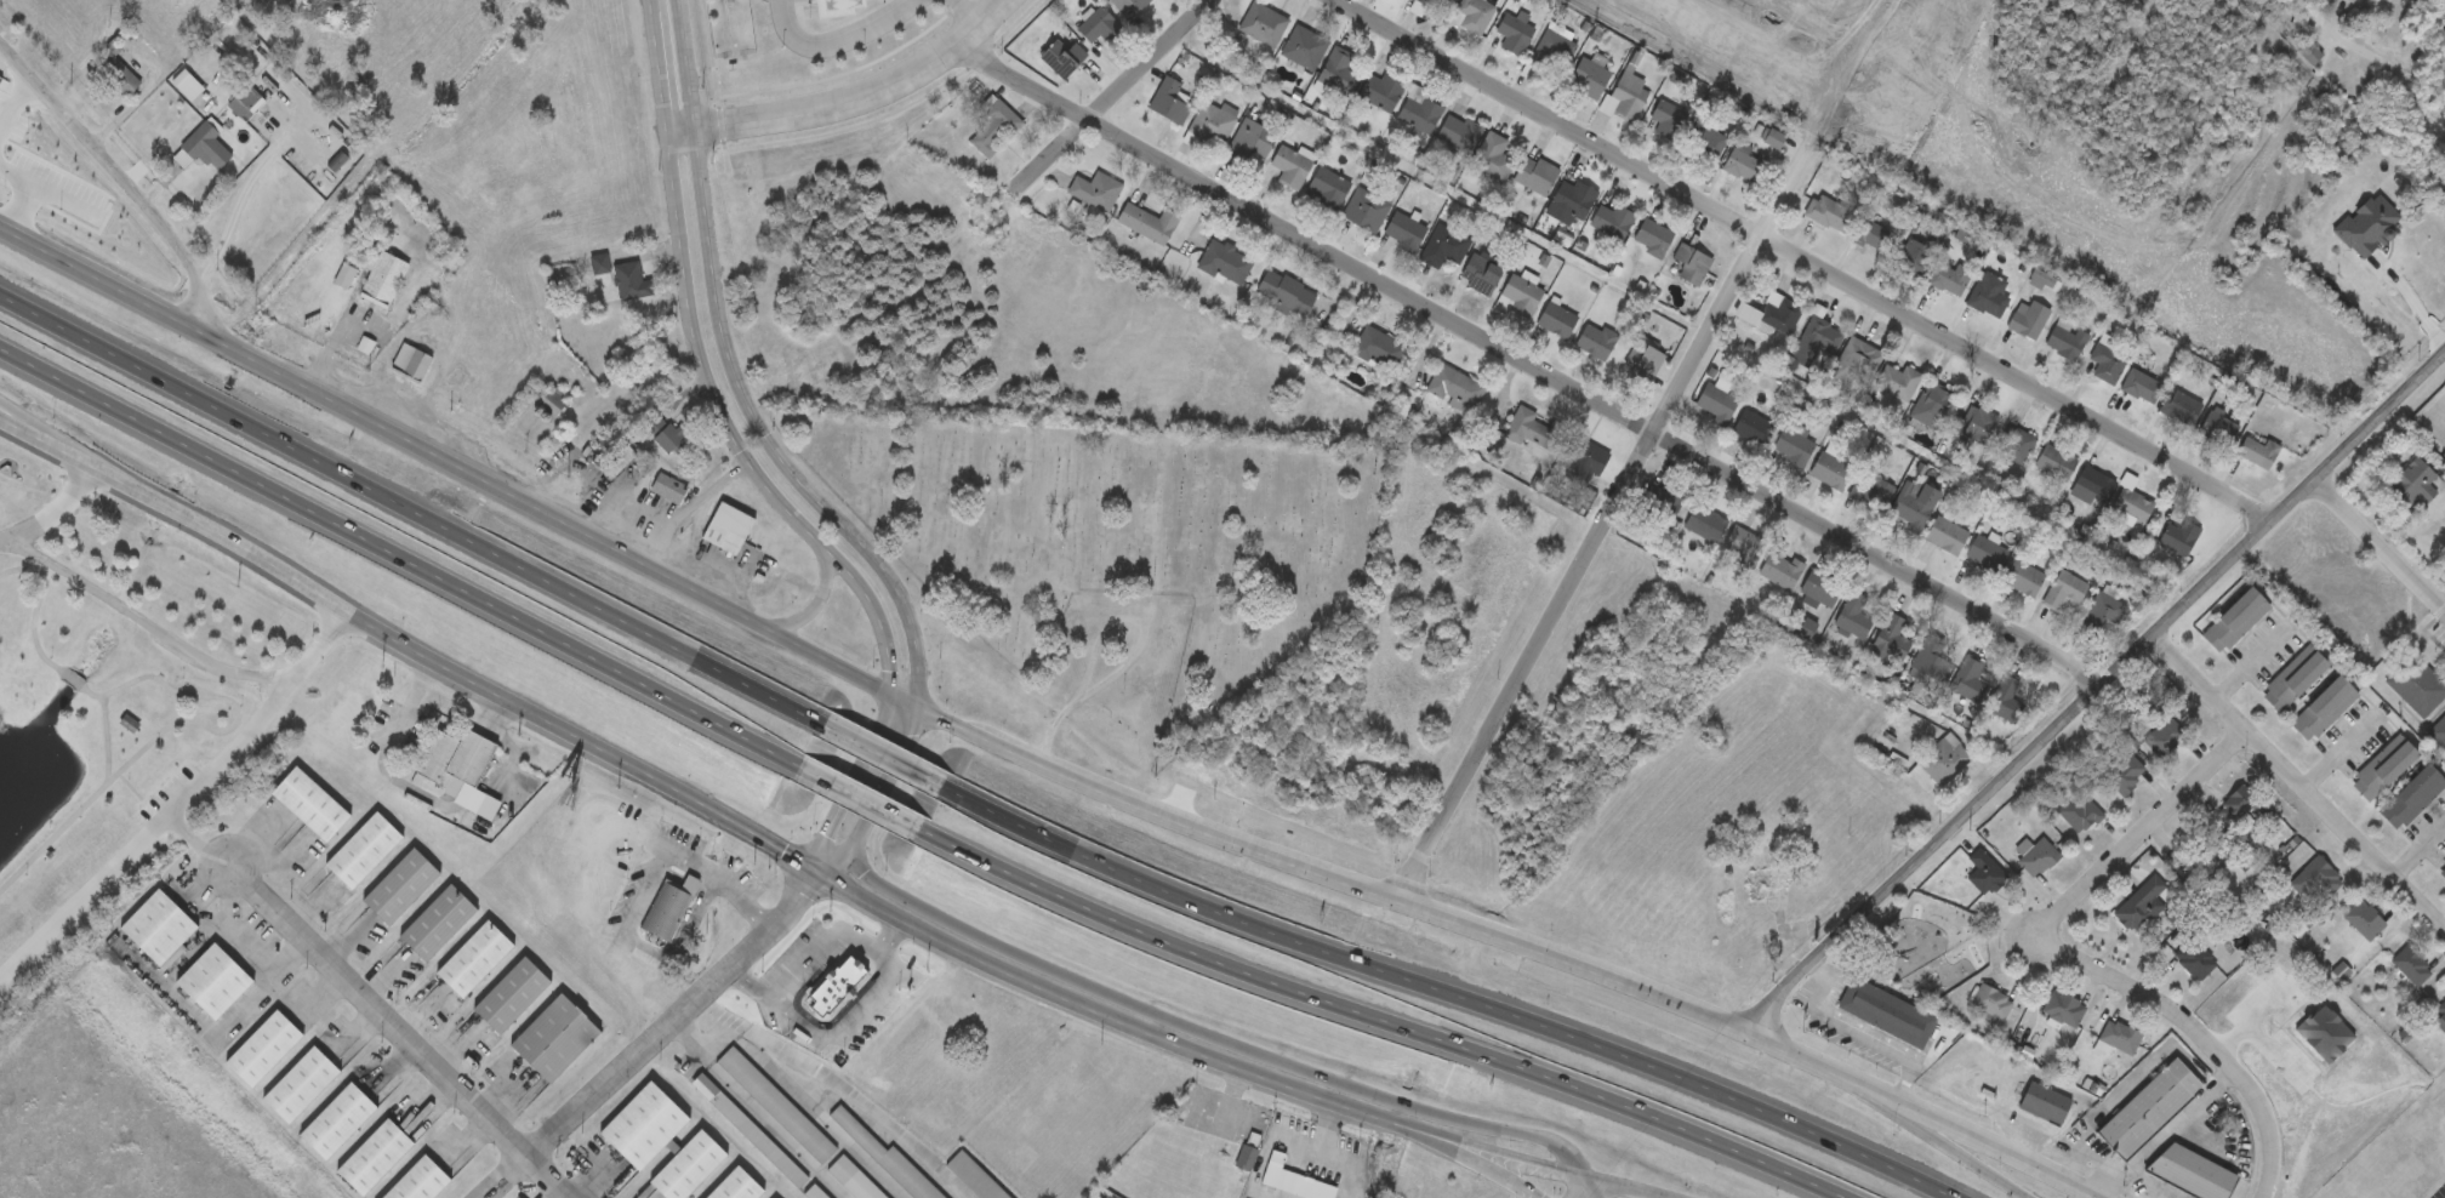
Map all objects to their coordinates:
building: (2352, 1)
building: (1127, 5)
building: (1425, 5)
building: (832, 10)
road: (962, 10)
building: (1471, 13)
building: (1261, 21)
building: (1096, 23)
building: (1512, 29)
road: (837, 42)
building: (1301, 46)
building: (1551, 50)
building: (1060, 52)
building: (2310, 55)
building: (1337, 69)
road: (2393, 72)
building: (1589, 73)
building: (121, 79)
building: (1379, 89)
building: (1624, 93)
road: (1106, 95)
building: (1167, 99)
road: (844, 101)
building: (246, 103)
road: (16, 105)
building: (1418, 109)
building: (1665, 116)
building: (1209, 121)
building: (993, 125)
building: (1457, 131)
building: (1772, 136)
building: (1246, 138)
building: (1704, 141)
building: (204, 152)
building: (1492, 155)
building: (1288, 161)
building: (1740, 162)
building: (1534, 172)
road: (120, 176)
building: (1326, 186)
building: (1094, 188)
road: (28, 193)
building: (1572, 195)
building: (1364, 205)
building: (1825, 210)
road: (243, 211)
building: (1611, 217)
building: (1146, 221)
building: (1403, 227)
building: (1869, 232)
building: (1651, 234)
building: (1442, 244)
road: (1807, 253)
building: (1909, 253)
building: (1224, 259)
building: (1689, 261)
building: (600, 266)
building: (1477, 273)
building: (1949, 274)
building: (347, 279)
building: (384, 283)
building: (629, 283)
building: (1282, 291)
building: (1987, 291)
building: (1517, 293)
building: (1769, 312)
building: (2027, 315)
building: (1555, 318)
road: (334, 332)
building: (2064, 336)
building: (1592, 338)
building: (1377, 346)
building: (1642, 358)
road: (1529, 359)
building: (2105, 359)
building: (1854, 361)
building: (414, 364)
road: (729, 369)
road: (703, 377)
building: (1896, 378)
building: (2139, 383)
building: (1454, 386)
building: (2444, 392)
building: (1714, 398)
building: (1930, 403)
building: (554, 404)
building: (2178, 404)
building: (1976, 422)
building: (1751, 424)
building: (2216, 426)
building: (1528, 427)
building: (661, 432)
road: (41, 435)
road: (41, 441)
building: (2013, 441)
building: (1791, 444)
building: (2257, 449)
building: (1584, 453)
building: (614, 460)
building: (2053, 460)
building: (1829, 467)
building: (2092, 480)
building: (2410, 483)
building: (1871, 487)
building: (669, 490)
building: (1660, 501)
building: (2130, 501)
building: (1913, 502)
road: (409, 507)
road: (55, 514)
road: (691, 515)
building: (1703, 520)
road: (1598, 525)
building: (728, 530)
building: (1944, 532)
building: (2176, 535)
building: (1742, 542)
road: (2378, 542)
building: (1984, 550)
road: (393, 554)
building: (1778, 566)
park: (1108, 571)
building: (2022, 574)
building: (1819, 583)
building: (2062, 586)
building: (2101, 607)
road: (815, 609)
building: (1852, 612)
building: (2233, 617)
road: (142, 623)
building: (1890, 633)
building: (1933, 656)
road: (1138, 658)
building: (1965, 673)
building: (2295, 680)
building: (2415, 683)
road: (2092, 690)
building: (2002, 692)
road: (230, 702)
road: (900, 703)
building: (2325, 711)
building: (129, 724)
building: (2438, 730)
building: (2164, 731)
park: (90, 732)
road: (104, 743)
road: (872, 748)
building: (1942, 755)
building: (456, 761)
building: (2380, 765)
building: (2122, 770)
road: (2298, 775)
road: (880, 782)
road: (851, 783)
road: (848, 792)
building: (2409, 794)
building: (2233, 797)
road: (181, 800)
building: (310, 805)
building: (2076, 810)
parking lot: (683, 838)
road: (194, 844)
road: (831, 846)
road: (589, 850)
building: (364, 852)
building: (2035, 855)
parking lot: (729, 861)
road: (814, 866)
building: (1982, 869)
building: (2440, 869)
building: (2319, 873)
road: (726, 883)
parking lot: (752, 883)
building: (400, 888)
road: (648, 895)
building: (2143, 895)
parking lot: (629, 896)
building: (665, 914)
building: (2361, 917)
building: (438, 923)
building: (160, 928)
road: (838, 931)
road: (895, 935)
road: (680, 941)
road: (240, 942)
parking lot: (798, 954)
building: (2192, 957)
road: (2086, 958)
building: (474, 960)
building: (2409, 963)
building: (216, 982)
building: (837, 985)
road: (1819, 985)
road: (750, 986)
road: (1436, 991)
building: (512, 996)
building: (1989, 999)
parking lot: (874, 1005)
building: (2059, 1005)
building: (2439, 1012)
building: (1885, 1015)
road: (1369, 1017)
road: (397, 1032)
road: (1210, 1032)
building: (2116, 1033)
road: (680, 1036)
road: (656, 1037)
building: (554, 1039)
road: (1881, 1046)
building: (262, 1049)
building: (298, 1085)
road: (833, 1091)
building: (2042, 1101)
building: (2147, 1105)
building: (777, 1107)
road: (1903, 1109)
building: (2444, 1117)
building: (336, 1122)
road: (766, 1122)
building: (644, 1126)
road: (2160, 1130)
building: (750, 1133)
road: (1938, 1137)
road: (1970, 1137)
road: (1296, 1141)
road: (1328, 1153)
building: (374, 1158)
building: (887, 1158)
building: (1246, 1159)
road: (1476, 1159)
building: (688, 1168)
road: (2122, 1170)
building: (2192, 1170)
building: (974, 1177)
building: (853, 1180)
building: (1293, 1181)
building: (418, 1182)
building: (736, 1186)
road: (1580, 1188)
road: (1592, 1188)
road: (1625, 1188)
building: (815, 1193)

